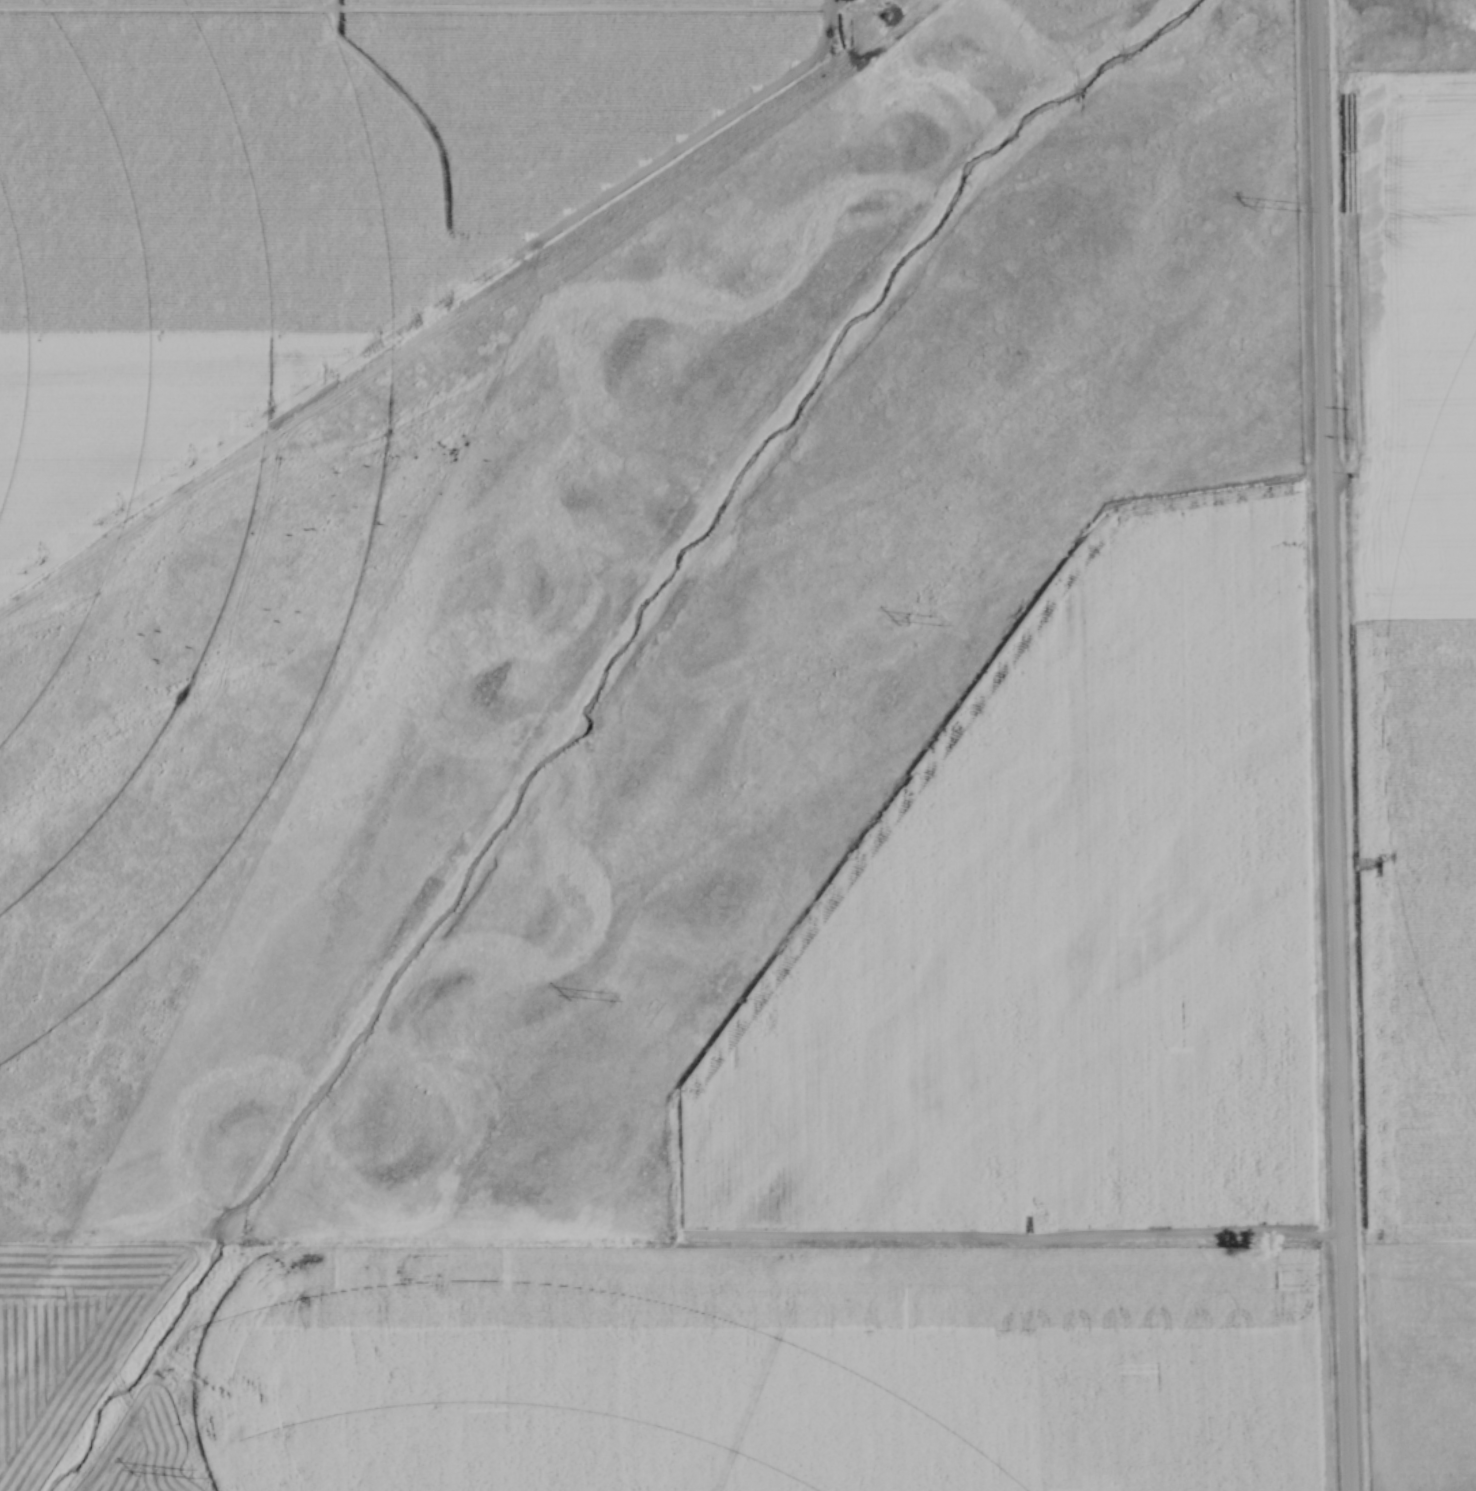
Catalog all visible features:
power tower: (1296, 197)
power tower: (934, 611)
road: (1326, 745)
power tower: (602, 993)
power tower: (270, 1373)

